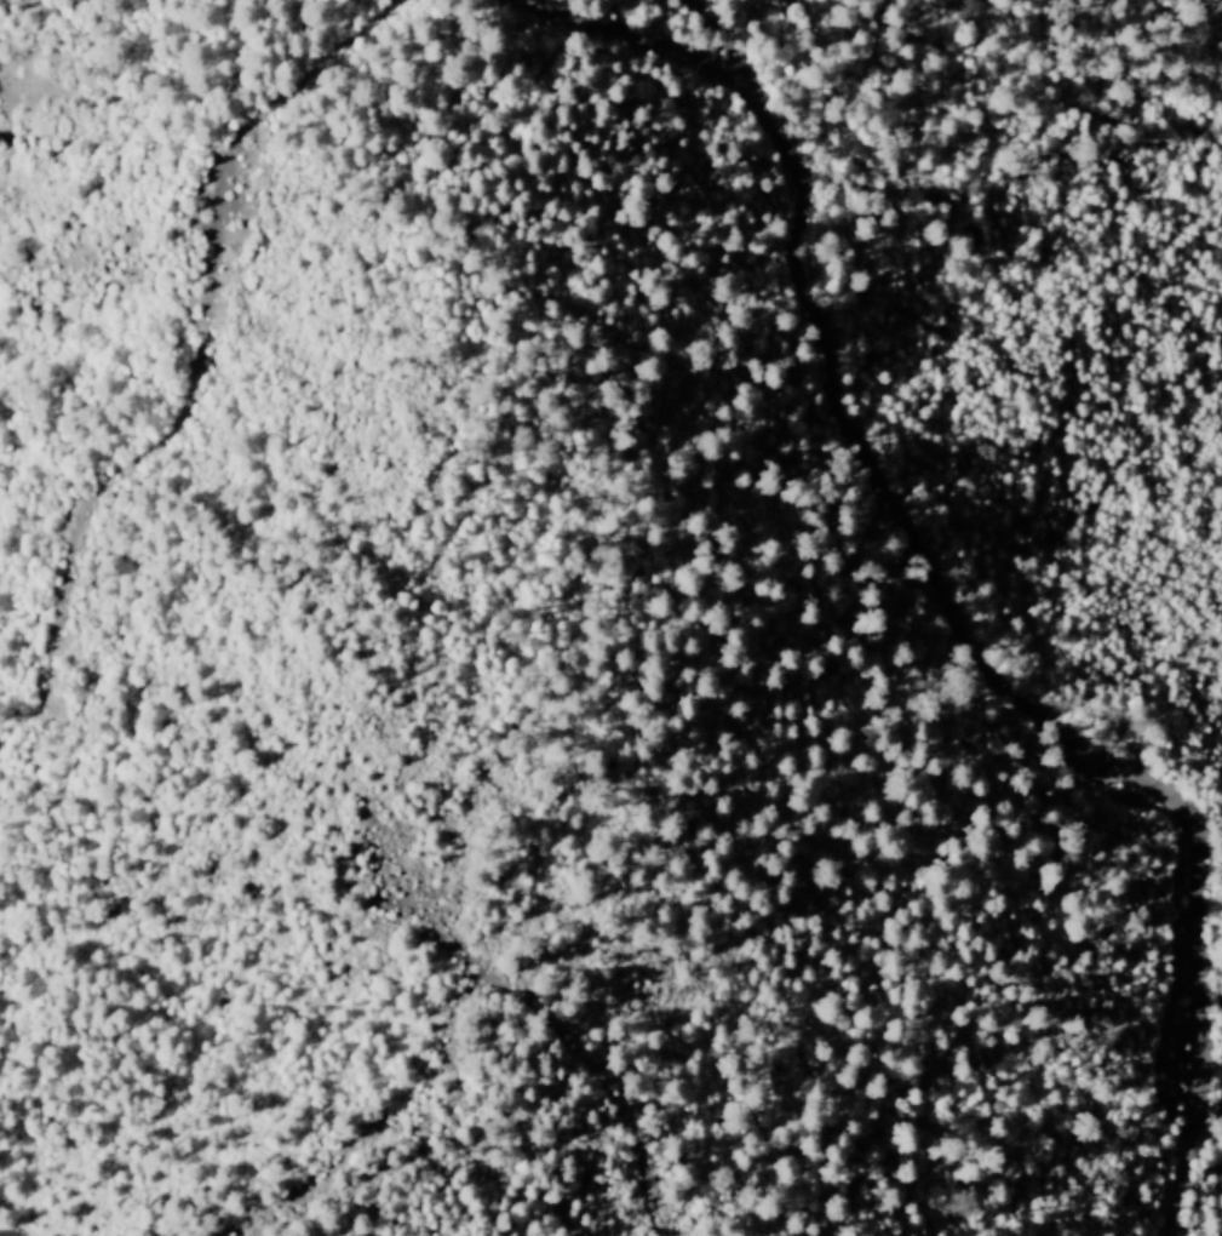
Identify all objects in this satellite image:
road: (713, 46)
road: (187, 405)
road: (928, 572)

